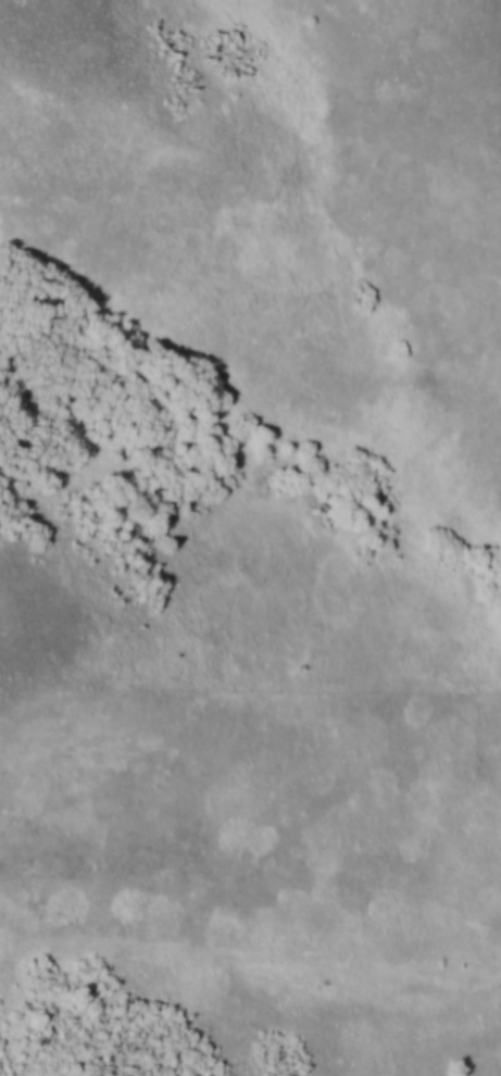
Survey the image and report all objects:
park: (251, 341)

